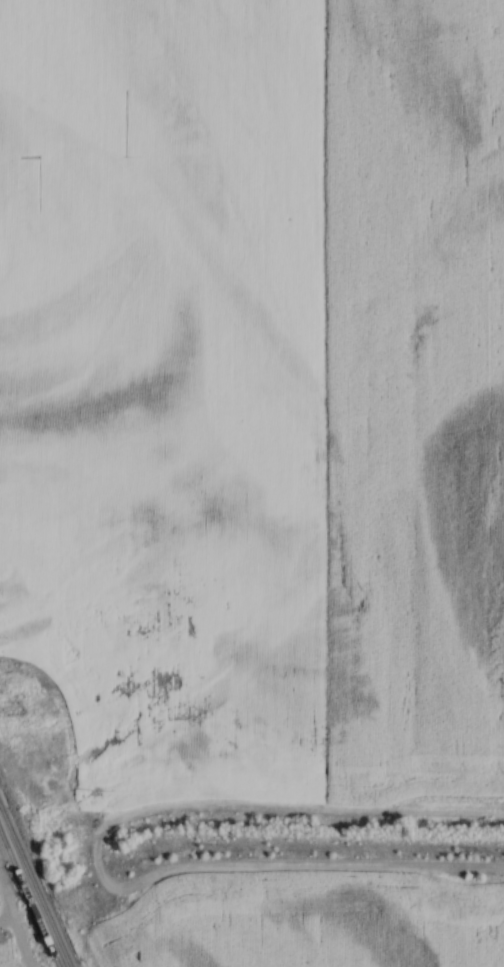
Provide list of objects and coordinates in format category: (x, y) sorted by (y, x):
railway: (36, 884)
railway: (30, 898)

